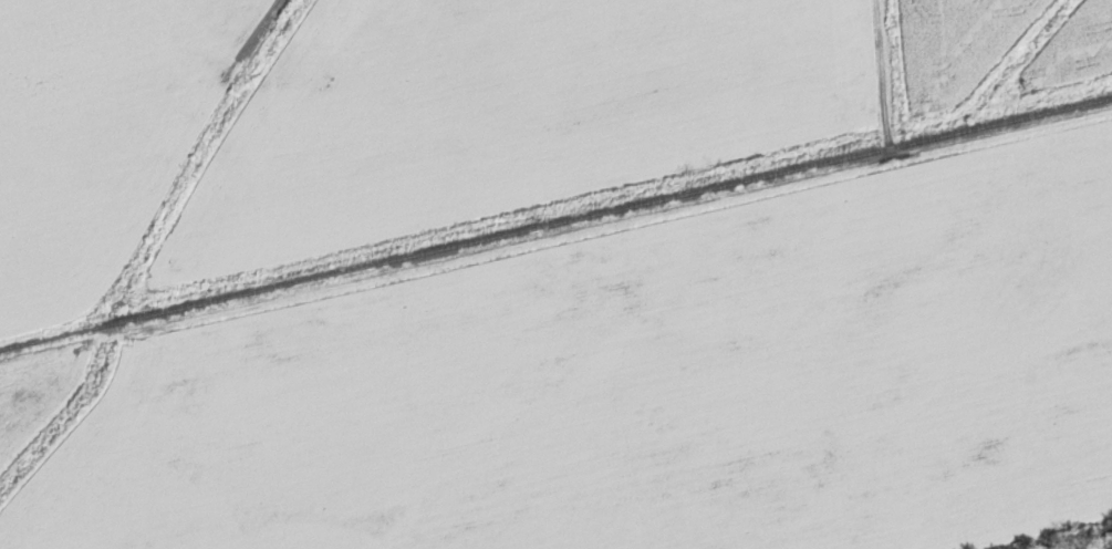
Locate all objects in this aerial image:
crop: (960, 43)
crop: (1075, 48)
road: (926, 152)
railway: (555, 221)
crop: (39, 384)

